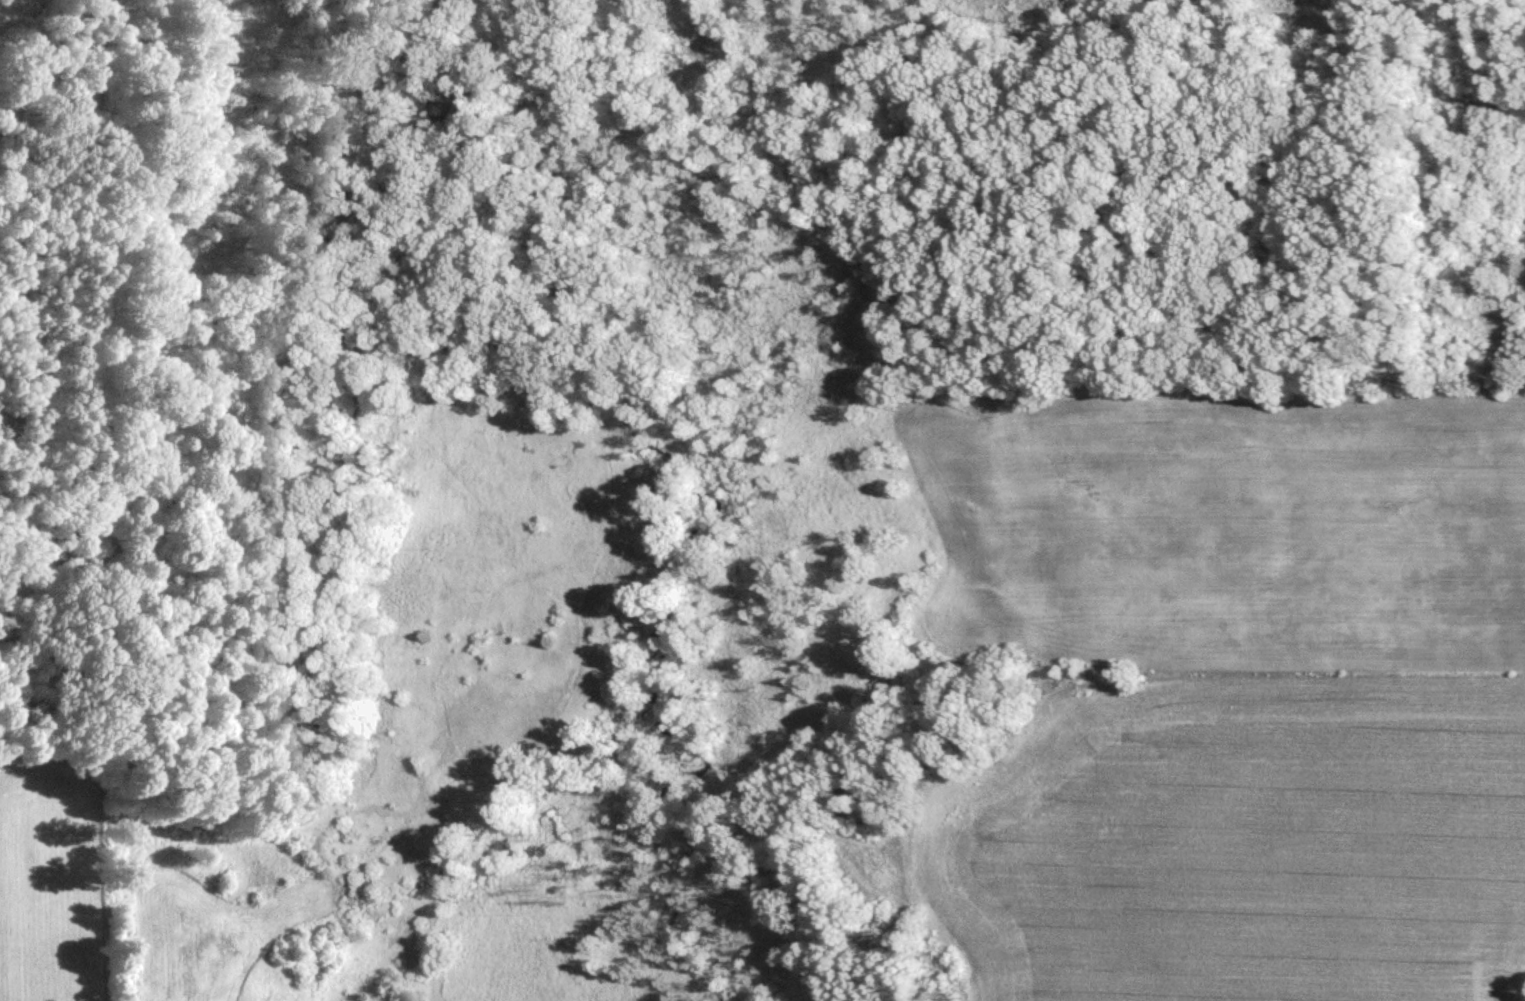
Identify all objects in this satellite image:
road: (453, 4)
road: (941, 36)

